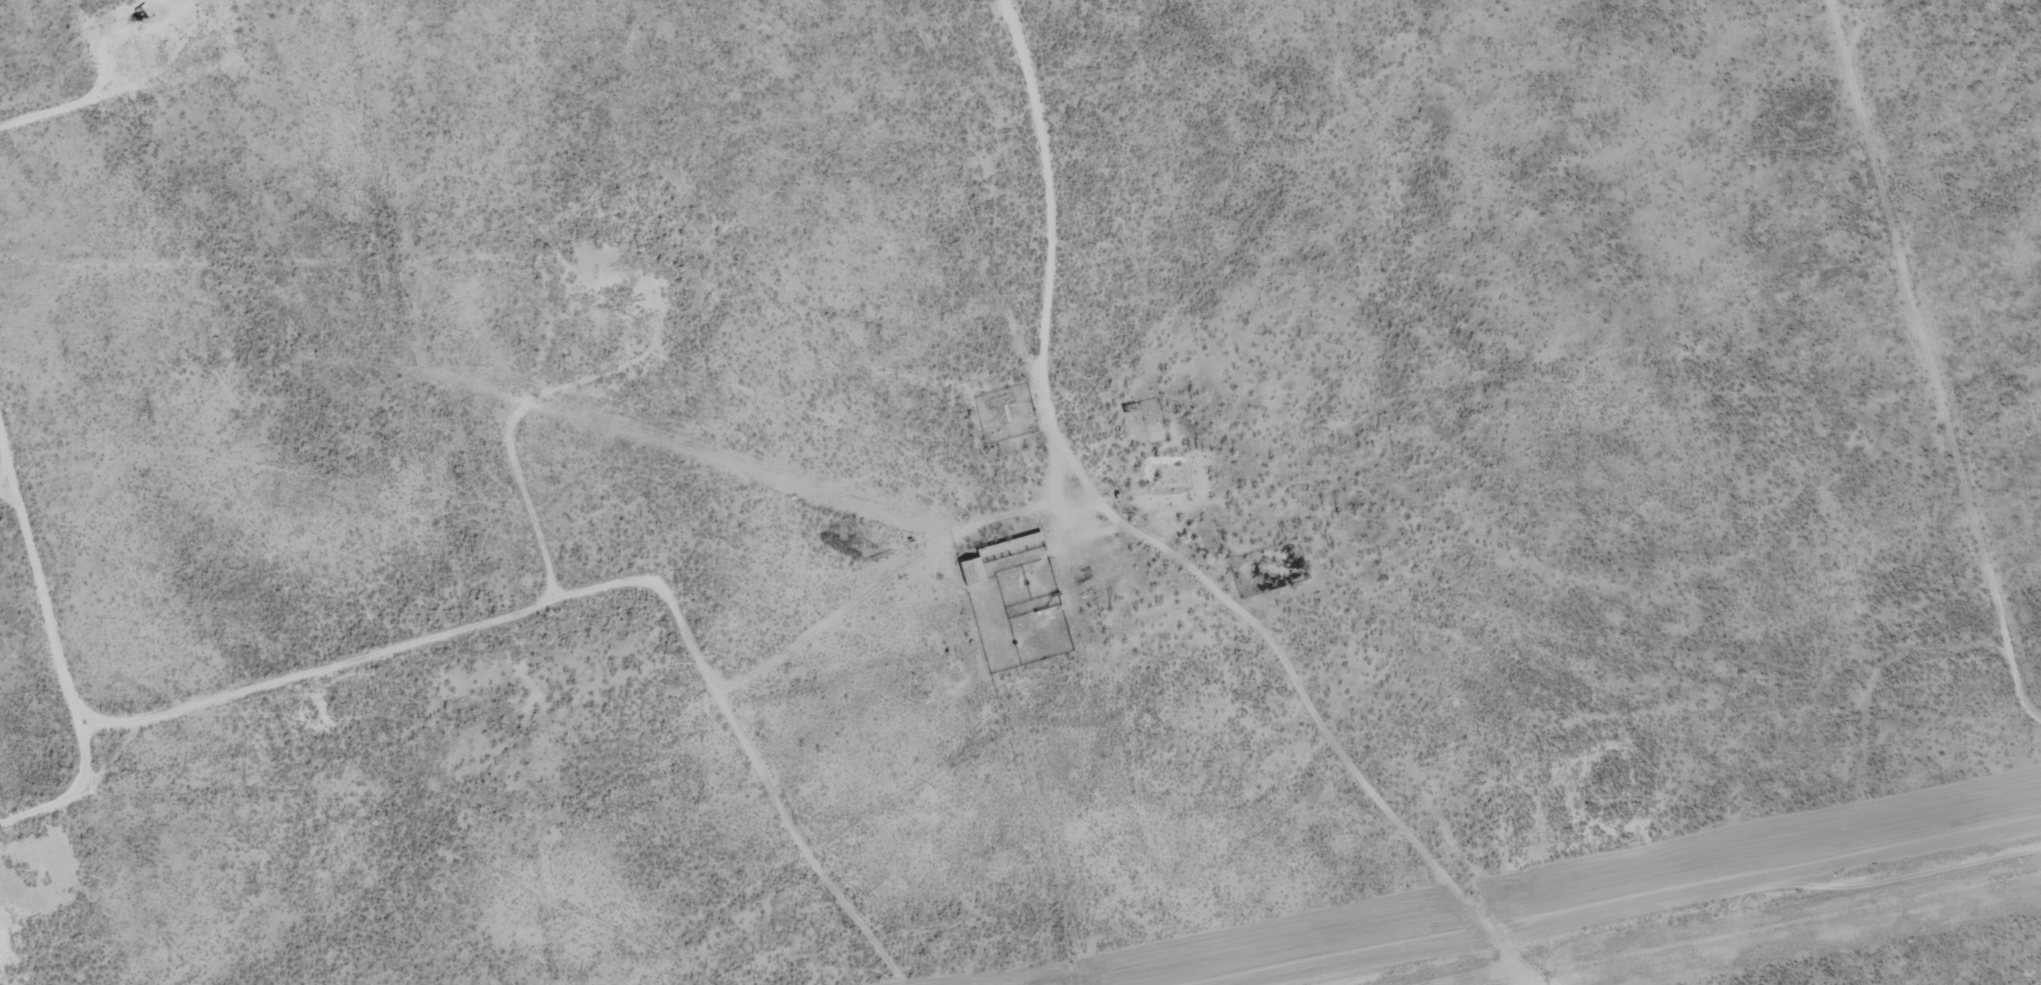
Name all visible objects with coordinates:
road: (1971, 34)
road: (1110, 217)
road: (1963, 296)
road: (562, 465)
road: (414, 649)

